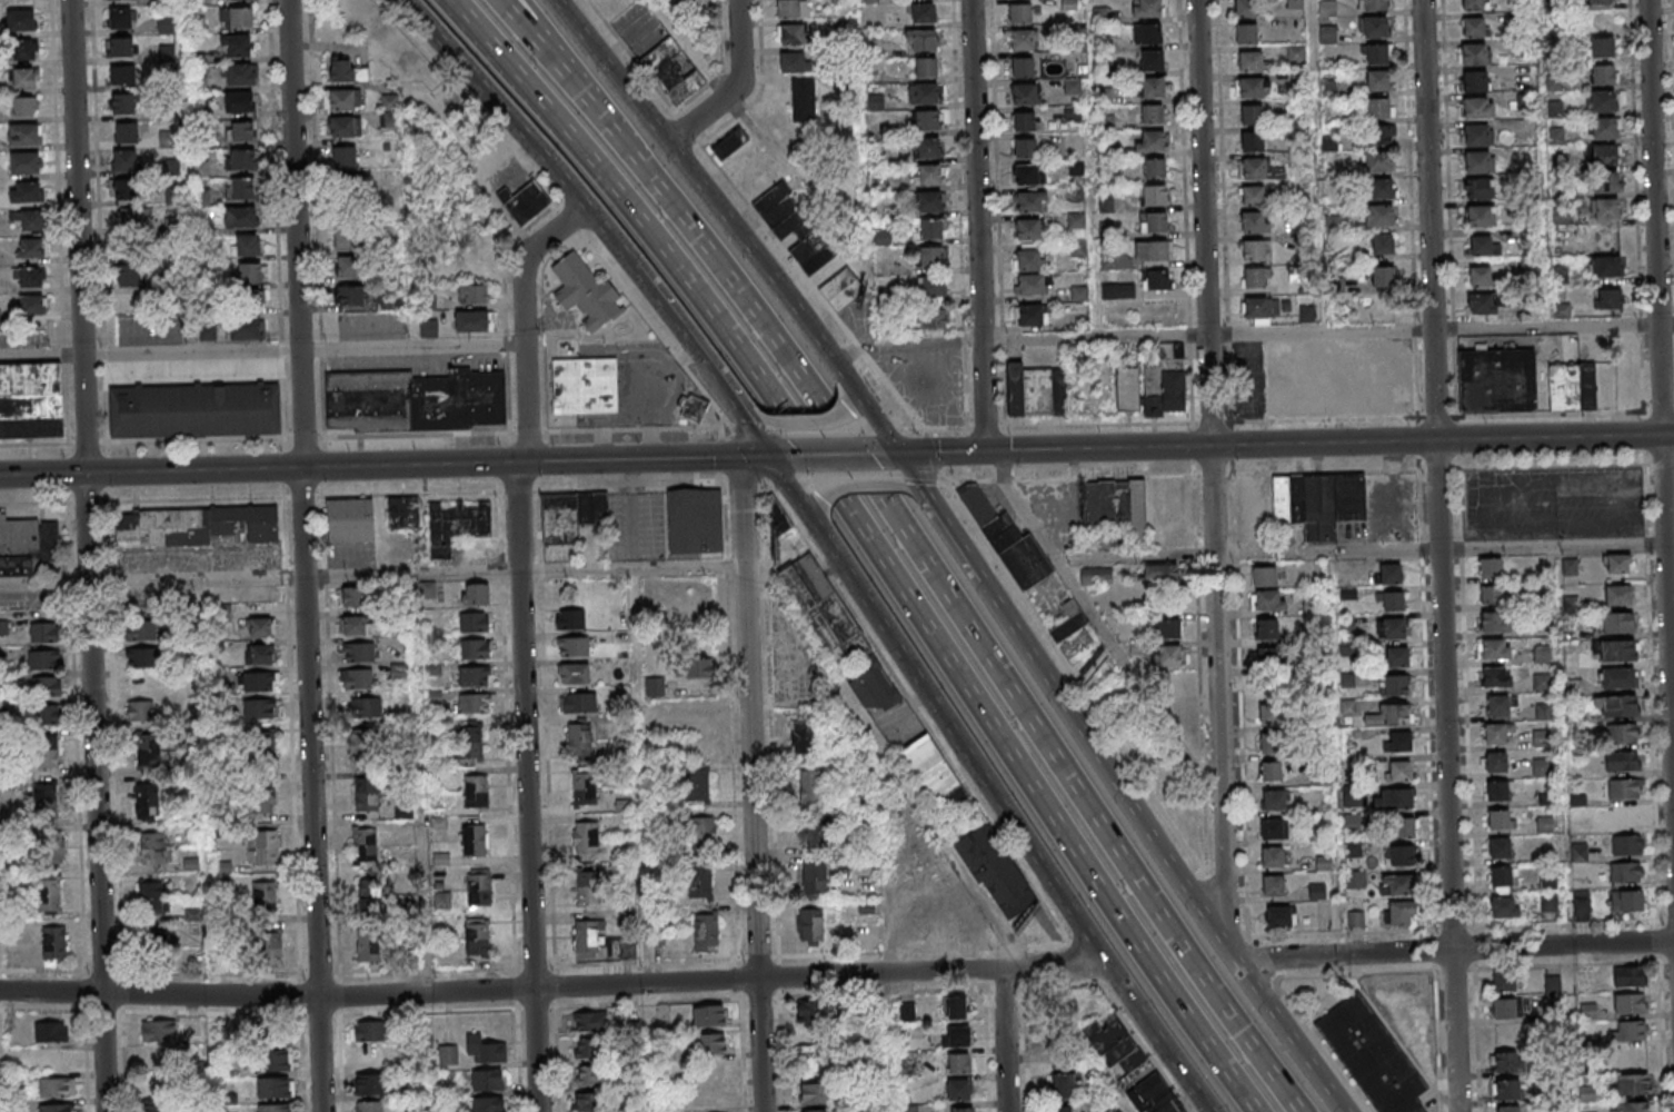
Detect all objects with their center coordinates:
building: (1600, 1)
building: (1293, 3)
building: (1373, 4)
building: (1477, 6)
building: (614, 7)
building: (794, 8)
building: (1153, 9)
building: (1249, 9)
building: (923, 13)
building: (1024, 16)
building: (119, 18)
building: (236, 18)
building: (19, 20)
building: (1373, 27)
building: (1478, 29)
building: (794, 33)
building: (1327, 34)
building: (1153, 36)
building: (1250, 36)
road: (562, 40)
building: (920, 41)
building: (1026, 41)
road: (544, 43)
building: (120, 46)
building: (236, 47)
building: (1603, 47)
building: (23, 50)
building: (1296, 53)
building: (1382, 56)
building: (1478, 56)
building: (795, 61)
building: (1156, 62)
building: (1254, 63)
building: (926, 67)
building: (1052, 67)
building: (1026, 69)
building: (347, 71)
building: (671, 73)
building: (121, 75)
building: (240, 75)
building: (1602, 75)
building: (24, 78)
building: (1475, 80)
building: (1382, 82)
road: (735, 88)
building: (1255, 89)
building: (1157, 90)
building: (924, 93)
building: (1028, 96)
building: (341, 99)
building: (804, 99)
building: (238, 101)
building: (1602, 101)
building: (121, 102)
building: (22, 107)
building: (1477, 108)
building: (1378, 109)
building: (390, 110)
building: (1156, 116)
building: (1256, 117)
building: (926, 120)
road: (610, 122)
building: (1028, 123)
building: (342, 126)
road: (519, 129)
building: (1603, 129)
building: (241, 131)
building: (126, 132)
building: (22, 135)
building: (1381, 135)
building: (1475, 135)
building: (167, 138)
building: (1157, 143)
building: (730, 145)
building: (1256, 145)
building: (926, 149)
building: (1029, 150)
building: (345, 157)
building: (1602, 157)
building: (123, 160)
building: (242, 160)
building: (1377, 161)
building: (1477, 162)
building: (23, 163)
building: (200, 169)
building: (1158, 170)
building: (1258, 170)
building: (927, 176)
building: (1030, 176)
building: (1604, 182)
building: (1379, 188)
building: (1477, 189)
building: (127, 190)
building: (241, 190)
building: (24, 193)
road: (705, 193)
building: (1158, 198)
building: (1257, 198)
building: (527, 203)
building: (928, 203)
building: (1032, 203)
building: (1605, 209)
building: (1379, 215)
building: (1478, 215)
building: (240, 218)
building: (134, 220)
building: (27, 221)
building: (1160, 225)
building: (1257, 225)
road: (977, 226)
building: (794, 229)
building: (1106, 229)
building: (931, 230)
building: (1034, 231)
building: (347, 239)
building: (1381, 244)
building: (1481, 245)
building: (247, 246)
building: (29, 249)
building: (1160, 252)
building: (1257, 252)
building: (930, 258)
building: (478, 262)
building: (1032, 262)
building: (1605, 266)
building: (349, 268)
building: (130, 274)
building: (252, 274)
building: (1383, 276)
building: (1479, 276)
building: (1253, 277)
building: (30, 278)
building: (1162, 281)
building: (1034, 287)
building: (931, 288)
building: (843, 290)
building: (1117, 290)
building: (586, 291)
building: (472, 295)
building: (349, 296)
building: (1607, 298)
building: (249, 300)
building: (385, 302)
building: (1482, 304)
building: (30, 306)
building: (1255, 307)
building: (1034, 317)
building: (930, 319)
building: (472, 320)
building: (246, 329)
building: (429, 329)
building: (208, 334)
road: (1252, 335)
road: (307, 347)
road: (43, 353)
road: (701, 359)
road: (1662, 370)
road: (666, 373)
building: (1335, 379)
building: (1498, 380)
building: (1165, 381)
building: (585, 386)
building: (1572, 387)
building: (1126, 389)
building: (1036, 390)
road: (851, 395)
road: (733, 397)
building: (31, 400)
building: (415, 400)
building: (694, 409)
building: (195, 410)
road: (874, 421)
road: (1215, 423)
road: (811, 424)
road: (654, 433)
road: (1668, 435)
road: (1279, 444)
road: (886, 454)
traffic signals: (896, 454)
road: (831, 456)
road: (778, 457)
traffic signals: (768, 458)
road: (1217, 464)
road: (429, 465)
road: (44, 474)
road: (911, 476)
road: (857, 481)
road: (916, 489)
road: (795, 496)
building: (1319, 502)
building: (1116, 505)
building: (403, 512)
road: (935, 512)
building: (571, 515)
building: (696, 520)
road: (818, 520)
building: (350, 522)
building: (457, 524)
building: (195, 526)
building: (1007, 542)
road: (869, 544)
road: (1671, 544)
building: (27, 545)
road: (990, 550)
road: (1361, 552)
road: (311, 555)
road: (1446, 555)
road: (93, 556)
building: (1618, 563)
road: (1058, 565)
building: (1491, 566)
building: (1568, 566)
building: (1389, 573)
building: (1159, 574)
road: (375, 576)
building: (1096, 576)
building: (1263, 577)
building: (476, 593)
building: (1493, 594)
building: (1617, 594)
building: (352, 597)
building: (1391, 599)
building: (1268, 600)
building: (1311, 606)
building: (570, 618)
building: (474, 620)
building: (1494, 620)
building: (1617, 623)
building: (259, 626)
building: (356, 626)
building: (1391, 627)
building: (142, 628)
building: (1266, 628)
building: (1167, 629)
road: (974, 631)
building: (1072, 631)
building: (43, 633)
building: (839, 635)
road: (528, 643)
building: (572, 646)
building: (475, 648)
building: (1493, 648)
building: (1616, 651)
building: (359, 652)
building: (259, 654)
building: (1545, 654)
building: (142, 656)
building: (1166, 656)
building: (1395, 656)
building: (42, 661)
building: (1271, 661)
building: (697, 668)
building: (619, 669)
building: (575, 673)
building: (474, 676)
building: (1494, 676)
building: (1618, 677)
building: (356, 679)
building: (260, 681)
building: (1545, 682)
building: (1394, 685)
building: (655, 686)
building: (44, 687)
building: (1577, 688)
building: (579, 702)
building: (474, 704)
building: (1616, 705)
road: (510, 707)
building: (261, 708)
building: (362, 708)
building: (1501, 708)
building: (142, 711)
building: (1547, 712)
building: (1391, 714)
building: (49, 715)
building: (1275, 717)
road: (774, 718)
building: (1625, 733)
building: (1498, 737)
building: (804, 738)
building: (1544, 738)
building: (470, 739)
building: (580, 739)
building: (1396, 741)
building: (360, 746)
building: (1275, 746)
building: (262, 748)
building: (149, 749)
building: (47, 752)
building: (1622, 761)
building: (1499, 765)
building: (1544, 767)
building: (1398, 770)
building: (930, 772)
building: (1275, 774)
building: (810, 783)
building: (697, 785)
road: (758, 785)
building: (584, 786)
building: (1624, 787)
building: (477, 791)
building: (367, 794)
building: (1501, 794)
building: (44, 796)
building: (262, 797)
building: (147, 798)
building: (1393, 798)
building: (1278, 803)
building: (1621, 816)
road: (1139, 821)
building: (1502, 823)
road: (1014, 824)
building: (1544, 824)
building: (1402, 827)
building: (703, 832)
building: (820, 833)
building: (1276, 833)
building: (586, 837)
building: (475, 841)
building: (365, 844)
building: (1626, 844)
building: (51, 848)
building: (153, 848)
building: (262, 848)
building: (1503, 852)
building: (1399, 856)
building: (1276, 861)
building: (996, 872)
building: (1626, 872)
building: (815, 880)
building: (1356, 880)
building: (1504, 880)
building: (1548, 882)
building: (699, 884)
building: (1396, 885)
building: (588, 886)
building: (479, 887)
building: (1277, 890)
building: (48, 894)
building: (370, 895)
building: (153, 896)
building: (263, 897)
building: (1626, 901)
building: (1548, 902)
building: (1581, 902)
building: (1504, 906)
building: (1398, 913)
building: (1281, 915)
building: (1355, 920)
building: (810, 924)
building: (706, 933)
building: (477, 937)
building: (587, 939)
building: (53, 942)
building: (160, 943)
building: (268, 946)
building: (368, 946)
building: (624, 951)
road: (1455, 951)
road: (717, 960)
building: (1630, 976)
building: (1505, 984)
road: (1062, 985)
building: (1552, 985)
road: (554, 989)
building: (1631, 1003)
building: (954, 1006)
building: (1503, 1009)
building: (811, 1012)
building: (907, 1012)
building: (709, 1014)
building: (590, 1022)
building: (50, 1031)
building: (158, 1031)
building: (368, 1031)
building: (1631, 1031)
road: (1663, 1032)
building: (956, 1035)
road: (1476, 1036)
road: (1009, 1039)
building: (710, 1043)
building: (589, 1048)
building: (1117, 1048)
building: (485, 1049)
road: (1029, 1050)
building: (448, 1054)
building: (1372, 1055)
building: (367, 1058)
building: (272, 1061)
building: (1506, 1061)
building: (959, 1062)
building: (588, 1075)
building: (487, 1080)
building: (370, 1084)
building: (1633, 1084)
road: (0, 1085)
building: (1064, 1085)
building: (57, 1086)
building: (275, 1088)
building: (958, 1089)
building: (1507, 1089)
building: (814, 1093)
building: (1154, 1095)
building: (586, 1102)
building: (488, 1103)
building: (159, 1104)
building: (369, 1106)
building: (1632, 1106)
building: (56, 1108)
building: (273, 1108)
building: (1059, 1109)
building: (1508, 1109)
building: (816, 1111)

